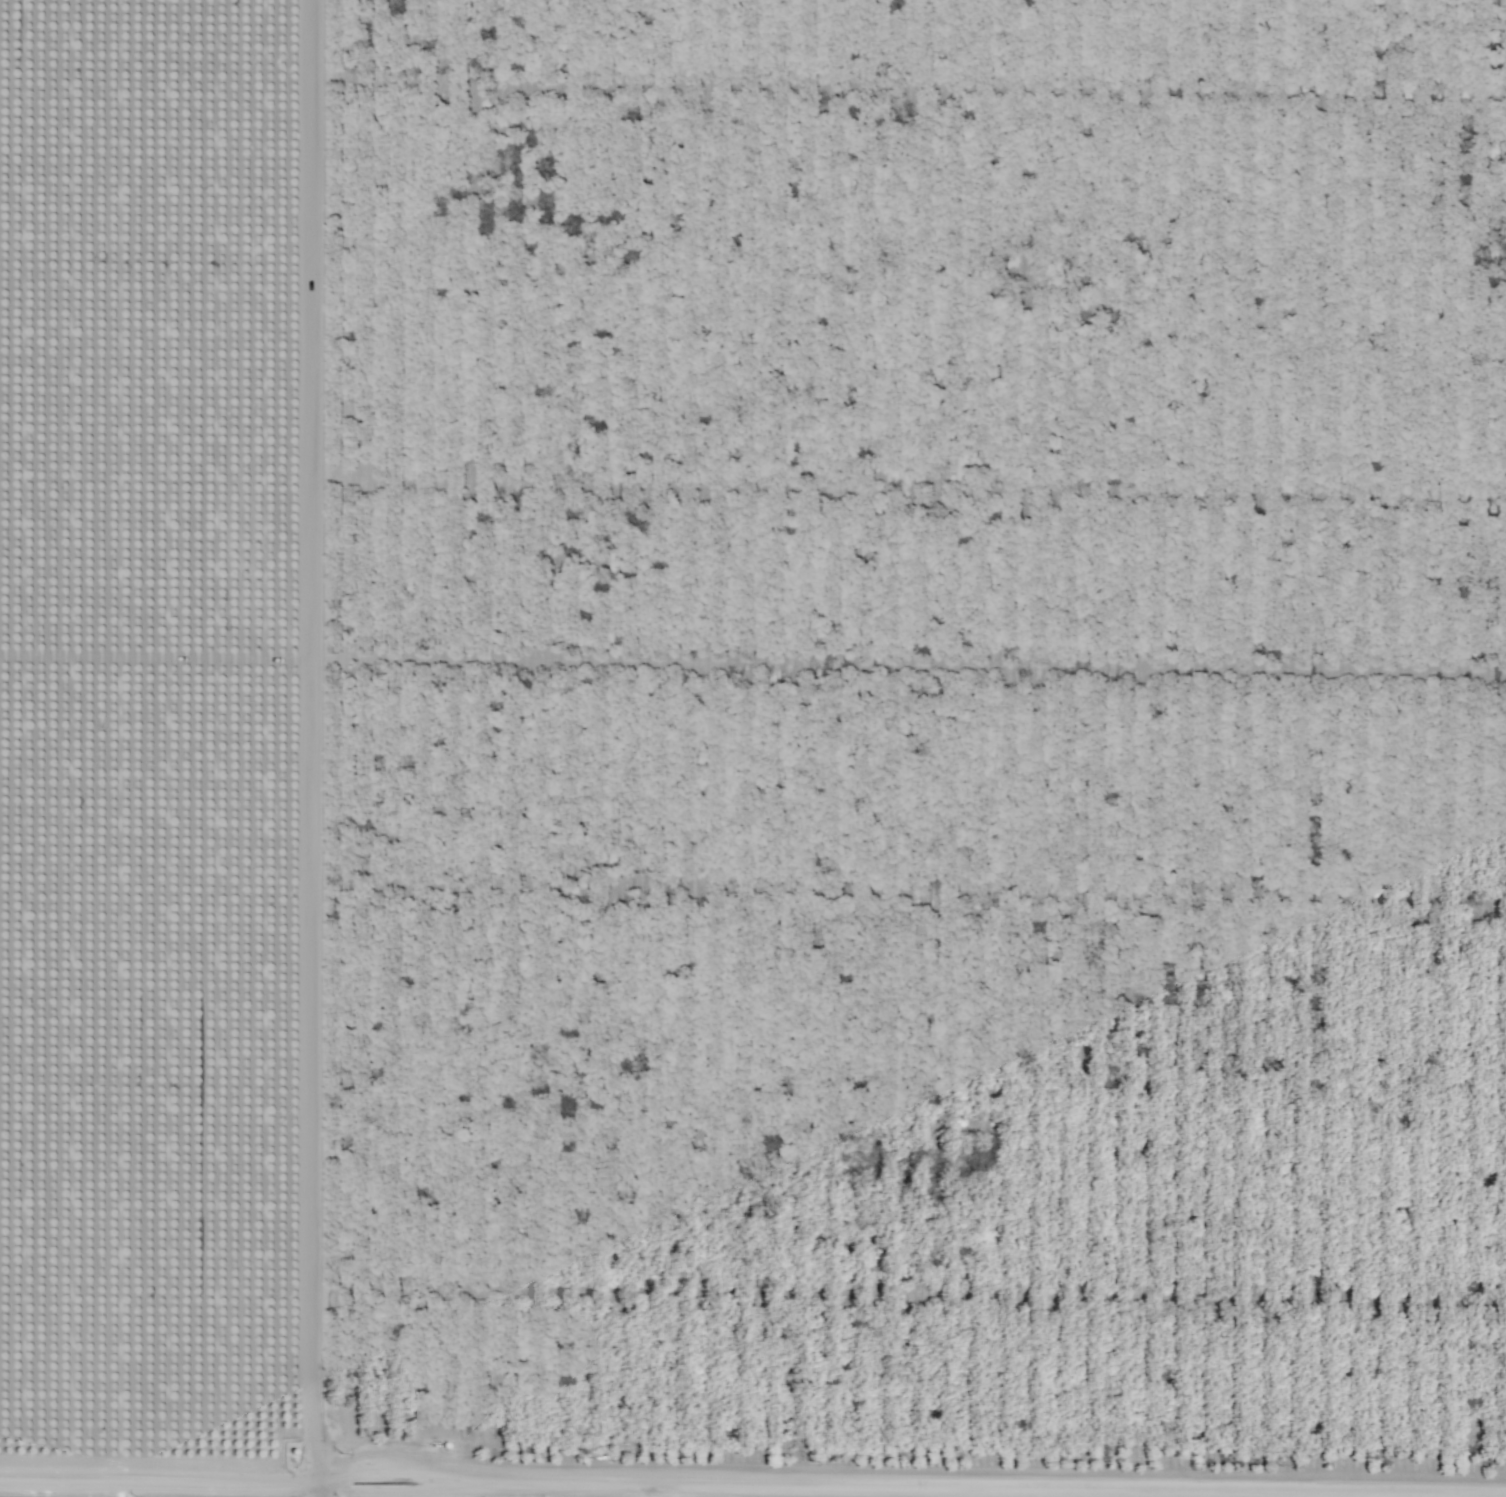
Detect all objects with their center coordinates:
crop: (939, 733)
road: (753, 1468)

